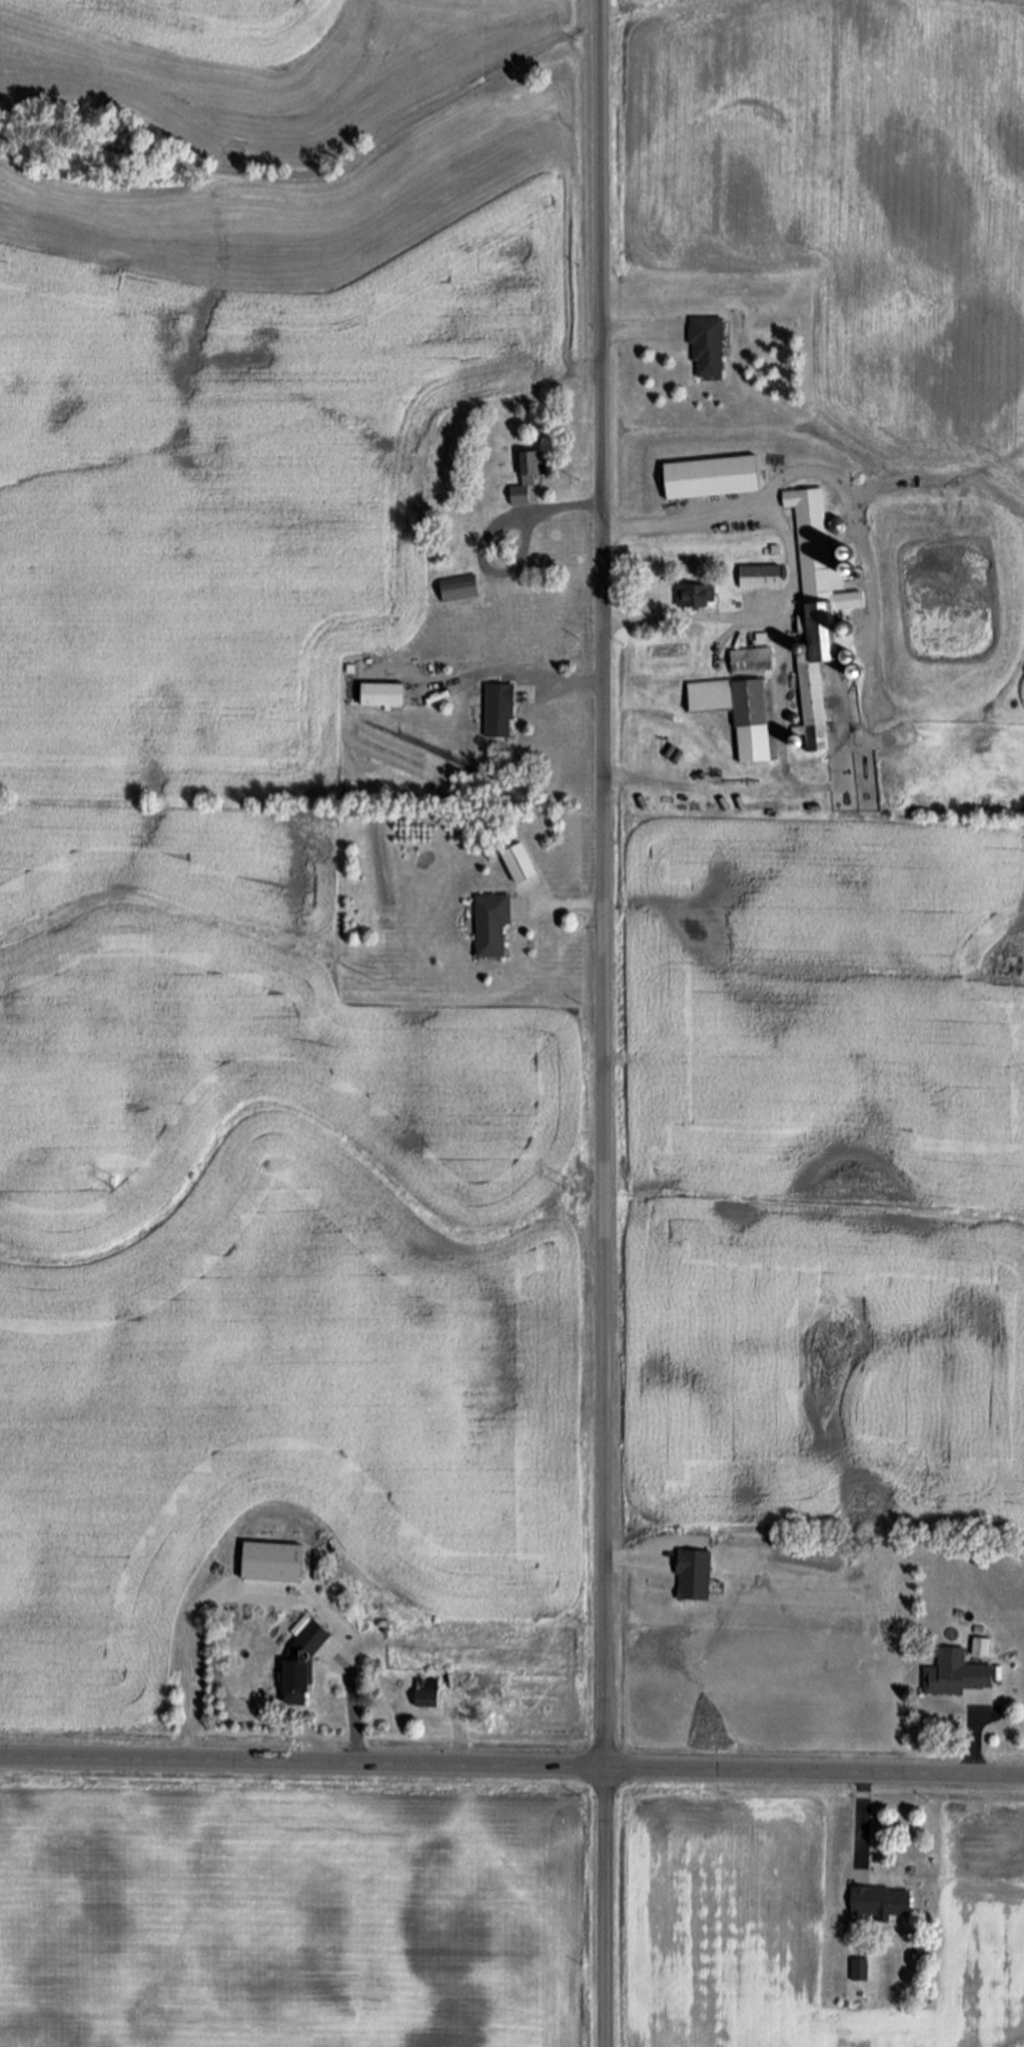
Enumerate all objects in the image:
road: (635, 335)
building: (707, 348)
building: (526, 478)
building: (712, 478)
road: (486, 538)
road: (792, 566)
building: (760, 577)
building: (460, 588)
building: (694, 596)
building: (815, 613)
building: (750, 661)
road: (523, 672)
building: (384, 695)
building: (500, 711)
building: (738, 713)
building: (521, 863)
road: (603, 884)
road: (570, 904)
building: (493, 925)
power tower: (114, 1184)
power tower: (565, 1185)
building: (697, 1576)
building: (301, 1625)
building: (981, 1648)
building: (308, 1660)
building: (958, 1675)
building: (428, 1694)
road: (184, 1699)
road: (353, 1709)
road: (456, 1744)
road: (976, 1748)
road: (511, 1767)
road: (863, 1820)
building: (882, 1902)
road: (606, 1908)
building: (859, 1971)

